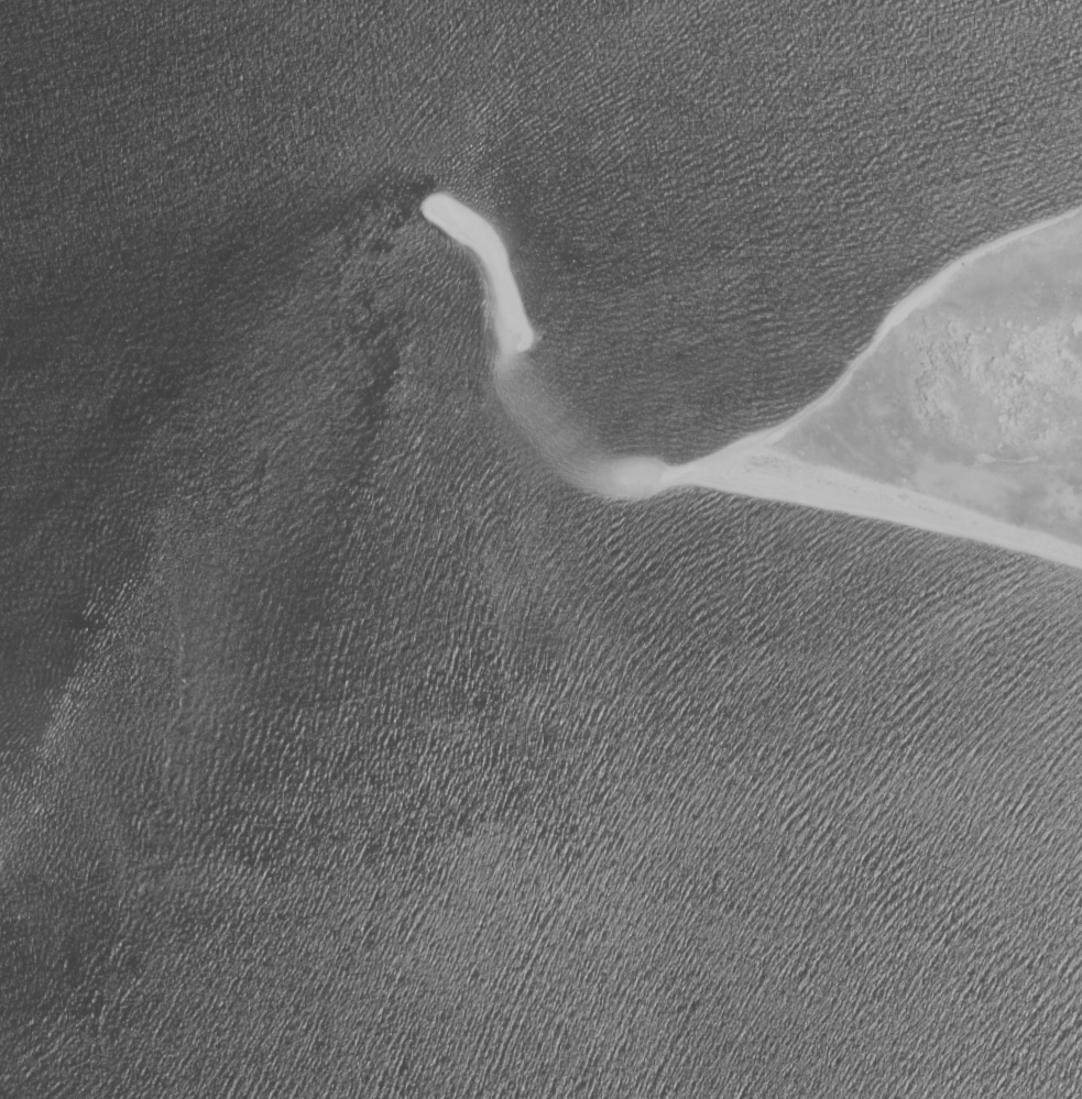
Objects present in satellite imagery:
building: (568, 120)
building: (539, 140)

